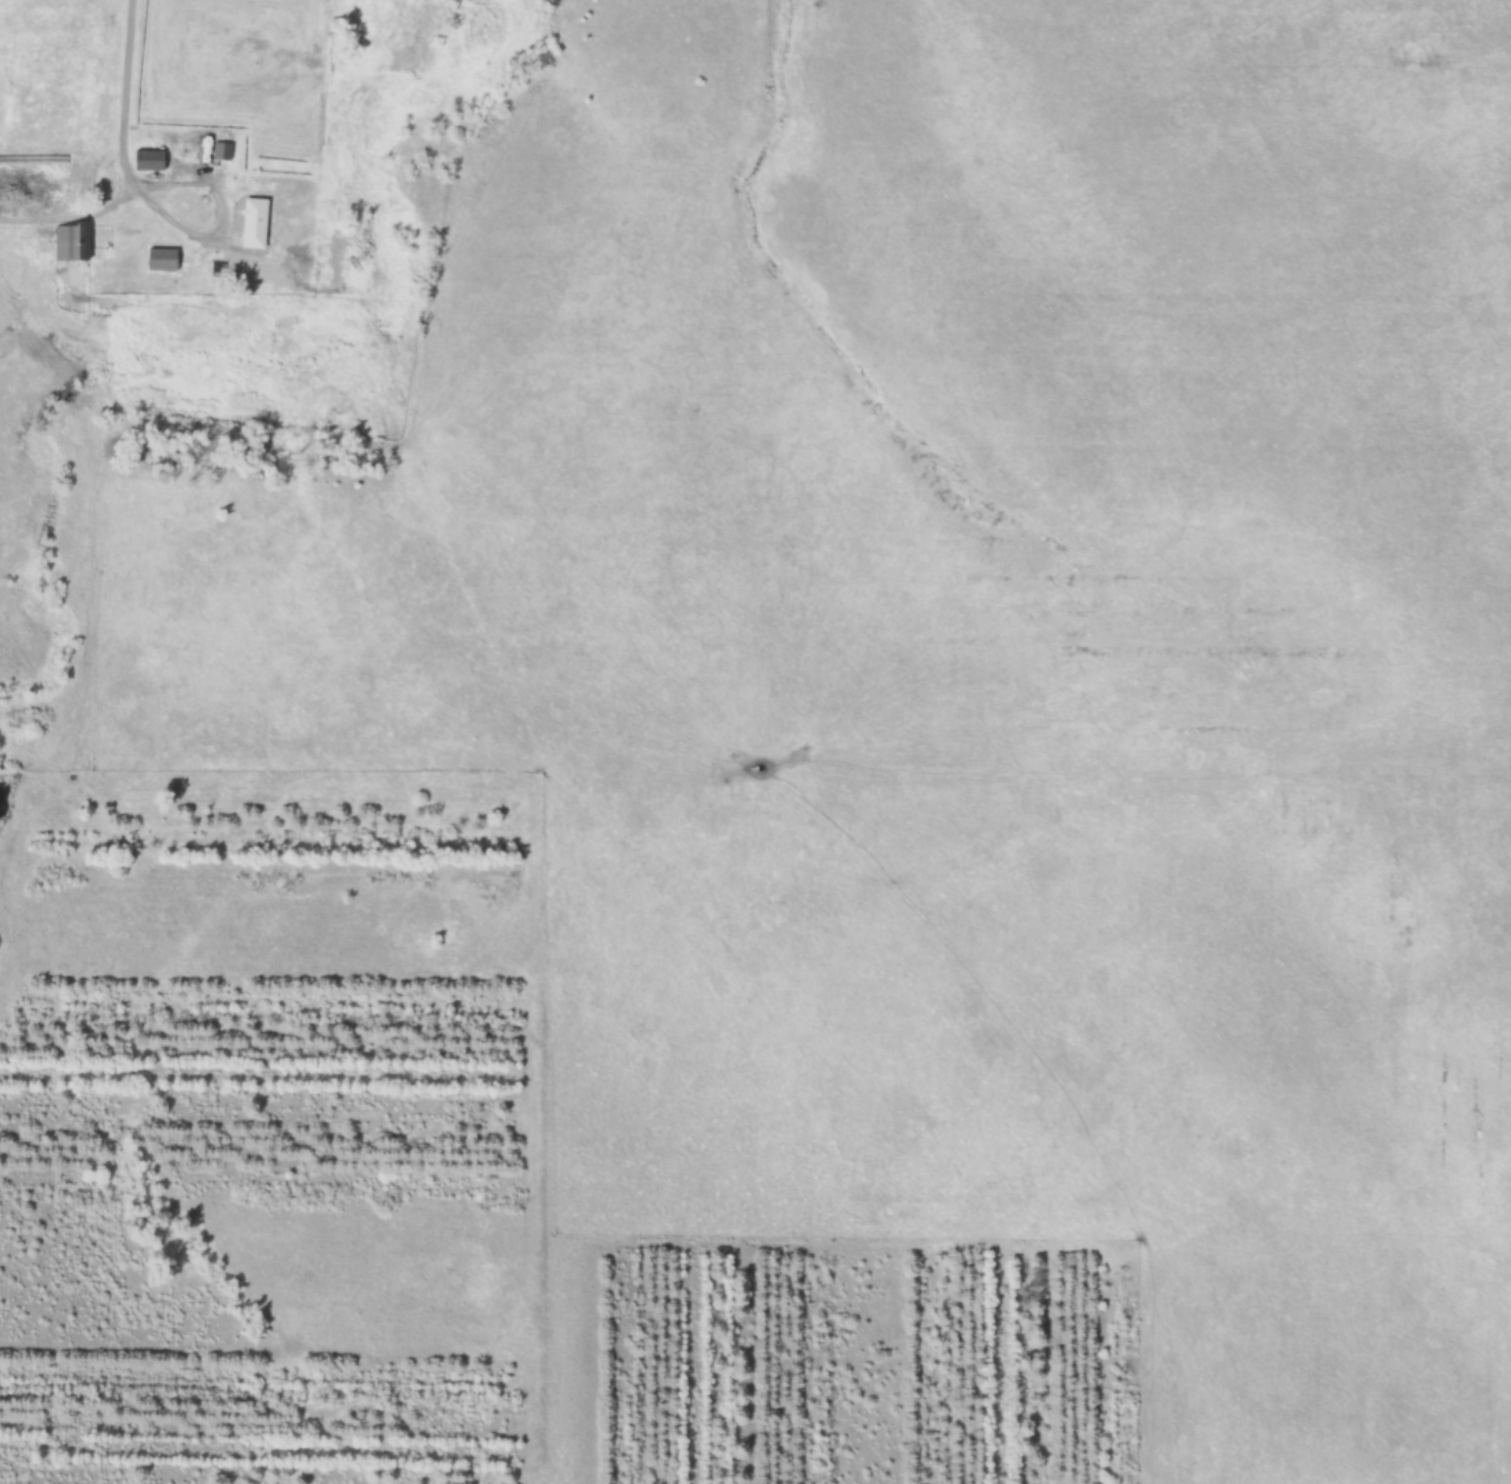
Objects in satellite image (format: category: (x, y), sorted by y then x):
building: (220, 151)
building: (148, 160)
building: (253, 223)
building: (69, 243)
building: (161, 259)
building: (217, 268)

